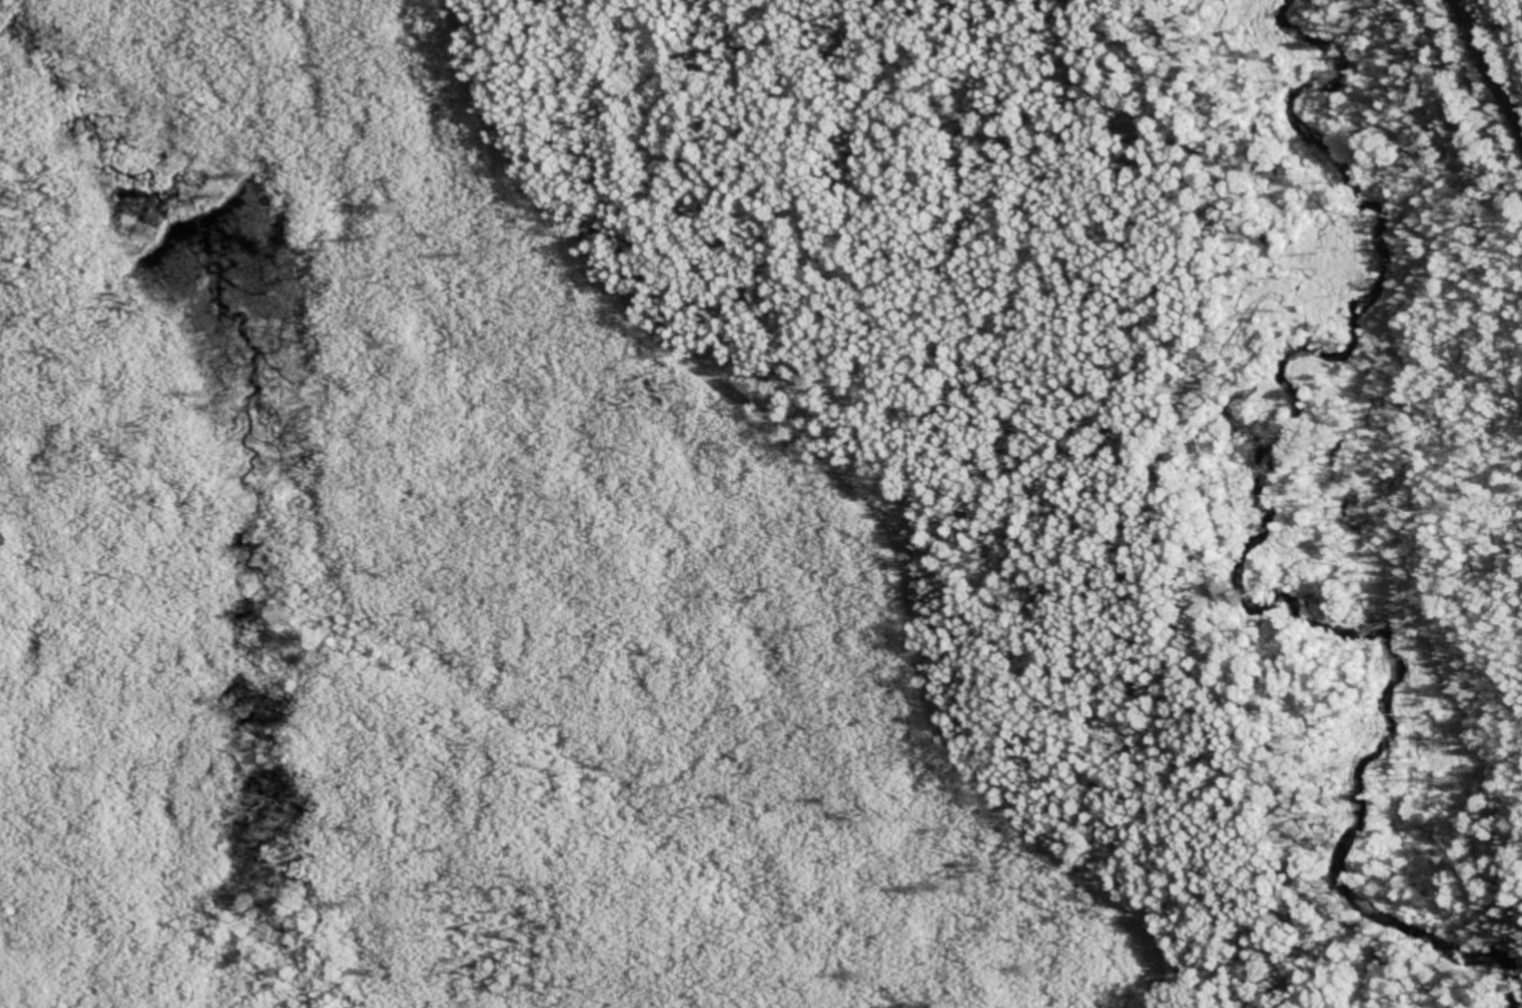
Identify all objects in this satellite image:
road: (1509, 26)

